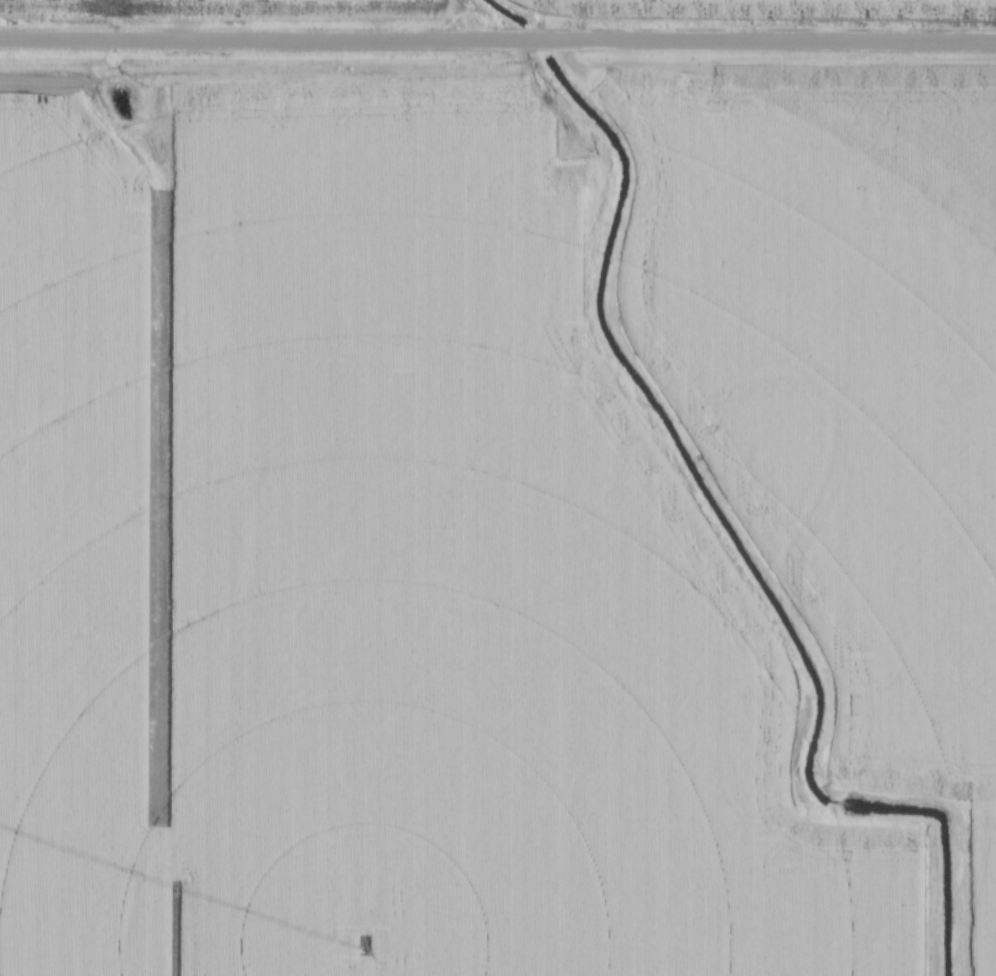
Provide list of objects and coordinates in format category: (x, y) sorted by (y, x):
crop: (202, 4)
road: (498, 40)
crop: (841, 383)
crop: (370, 576)

